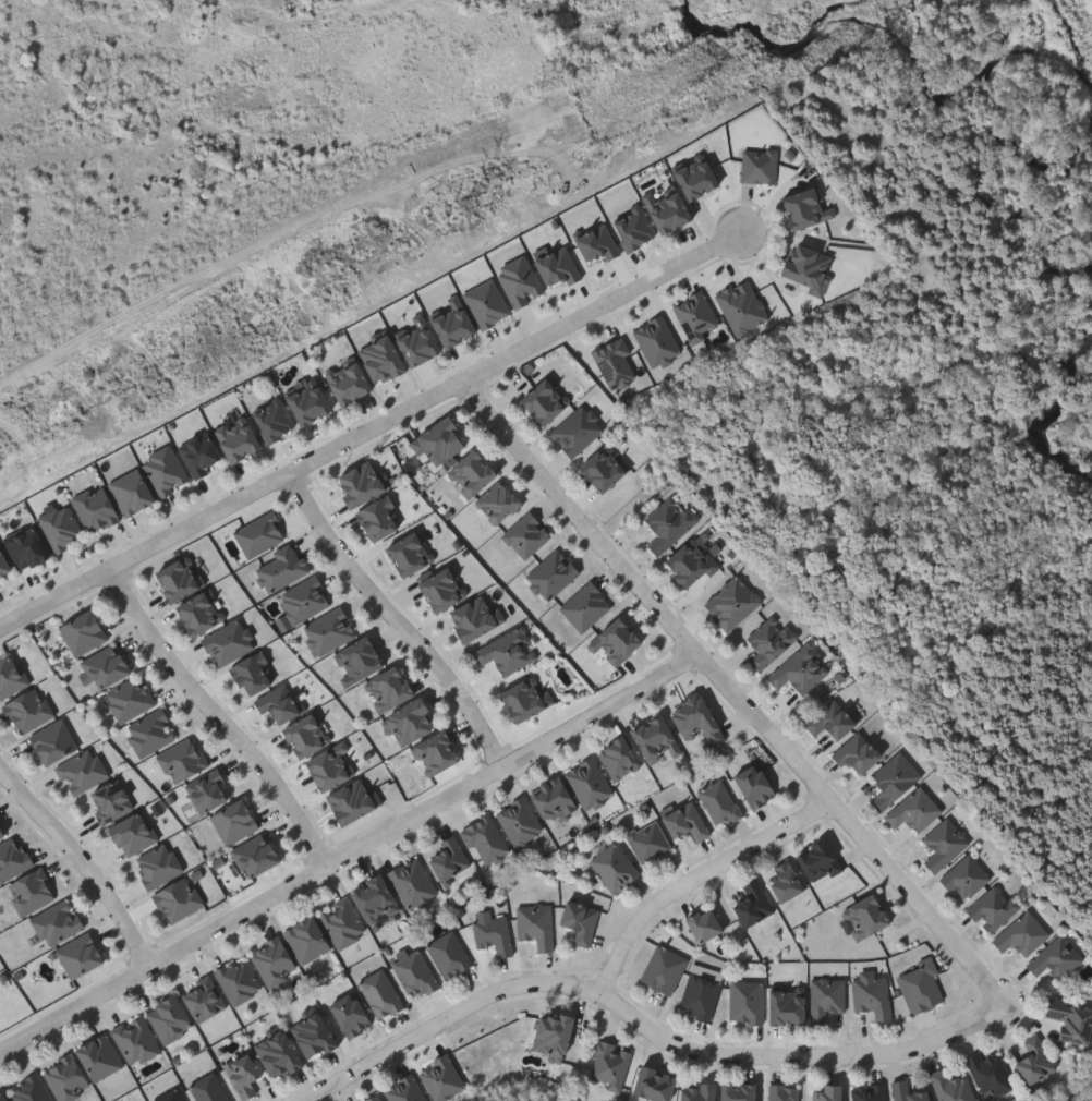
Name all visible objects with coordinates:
building: (761, 165)
park: (971, 170)
building: (696, 179)
building: (668, 208)
building: (808, 208)
power tower: (463, 215)
building: (634, 227)
building: (598, 243)
building: (809, 267)
building: (490, 303)
building: (743, 306)
building: (453, 323)
building: (418, 343)
building: (381, 358)
building: (349, 380)
building: (544, 400)
building: (308, 402)
building: (274, 419)
road: (369, 431)
building: (579, 431)
building: (238, 437)
building: (440, 439)
building: (201, 452)
building: (604, 467)
building: (166, 470)
building: (472, 472)
building: (364, 481)
building: (132, 491)
building: (499, 501)
building: (97, 508)
building: (670, 522)
building: (62, 527)
building: (260, 533)
building: (27, 547)
building: (409, 553)
building: (693, 560)
building: (3, 562)
building: (283, 567)
building: (180, 578)
building: (0, 588)
building: (442, 588)
building: (733, 602)
building: (201, 612)
building: (475, 617)
road: (399, 619)
building: (333, 629)
building: (85, 632)
building: (617, 640)
building: (771, 640)
building: (230, 642)
building: (506, 651)
building: (360, 660)
building: (107, 667)
building: (802, 669)
building: (254, 674)
building: (12, 676)
building: (389, 688)
road: (732, 694)
building: (526, 698)
building: (131, 700)
building: (29, 710)
road: (222, 717)
building: (697, 718)
building: (833, 719)
building: (412, 721)
building: (153, 733)
building: (307, 734)
building: (656, 739)
building: (54, 741)
building: (437, 752)
building: (858, 752)
building: (620, 758)
building: (184, 760)
building: (331, 766)
building: (83, 771)
building: (895, 778)
building: (590, 782)
building: (755, 785)
building: (209, 790)
building: (554, 798)
building: (354, 799)
building: (111, 800)
building: (723, 802)
building: (915, 810)
building: (688, 820)
building: (236, 821)
building: (521, 821)
building: (1, 832)
building: (134, 833)
building: (487, 838)
building: (651, 840)
building: (945, 844)
building: (257, 855)
road: (349, 856)
building: (450, 858)
building: (13, 859)
road: (81, 861)
building: (821, 861)
building: (159, 866)
building: (617, 868)
building: (967, 878)
road: (694, 879)
building: (786, 880)
building: (414, 882)
building: (33, 892)
building: (376, 898)
building: (180, 899)
building: (754, 903)
building: (995, 907)
building: (867, 916)
building: (582, 920)
building: (60, 922)
building: (344, 922)
building: (706, 923)
building: (538, 924)
building: (495, 934)
building: (1023, 934)
building: (308, 940)
building: (82, 955)
building: (451, 955)
building: (1057, 958)
building: (275, 961)
building: (666, 969)
building: (417, 973)
building: (240, 980)
building: (922, 988)
building: (383, 994)
building: (702, 996)
building: (875, 996)
building: (205, 999)
building: (828, 999)
building: (749, 1002)
building: (789, 1005)
building: (351, 1015)
building: (170, 1018)
building: (1071, 1019)
road: (644, 1027)
building: (314, 1033)
building: (554, 1033)
building: (137, 1039)
building: (279, 1054)
building: (100, 1056)
building: (1036, 1061)
building: (611, 1065)
building: (992, 1074)
building: (244, 1075)
building: (442, 1077)
building: (68, 1078)
building: (655, 1084)
building: (953, 1087)
building: (32, 1089)
building: (210, 1089)
building: (407, 1090)
building: (697, 1091)
building: (739, 1091)
building: (785, 1092)
building: (828, 1092)
building: (871, 1092)
building: (908, 1092)
building: (3, 1096)
building: (172, 1096)
building: (375, 1098)

